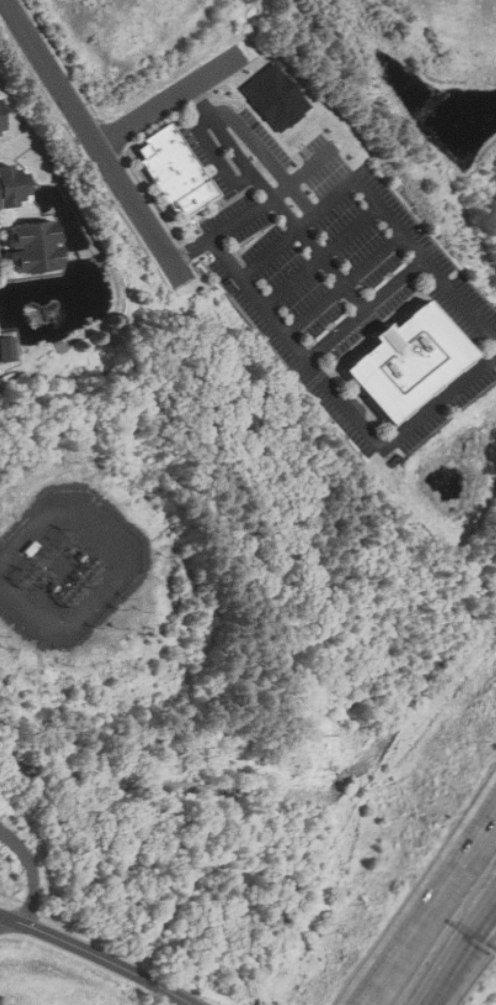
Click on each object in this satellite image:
road: (173, 95)
building: (276, 97)
building: (0, 130)
road: (93, 139)
road: (83, 154)
road: (266, 155)
road: (216, 157)
building: (174, 166)
road: (305, 171)
building: (12, 187)
road: (276, 198)
road: (221, 227)
building: (32, 247)
road: (323, 255)
road: (348, 285)
fountain: (44, 305)
road: (367, 308)
building: (7, 349)
building: (406, 358)
road: (478, 364)
power substation: (67, 567)
road: (443, 864)
road: (28, 870)
road: (428, 900)
road: (4, 921)
road: (463, 938)
road: (465, 954)
road: (100, 955)
road: (425, 996)

